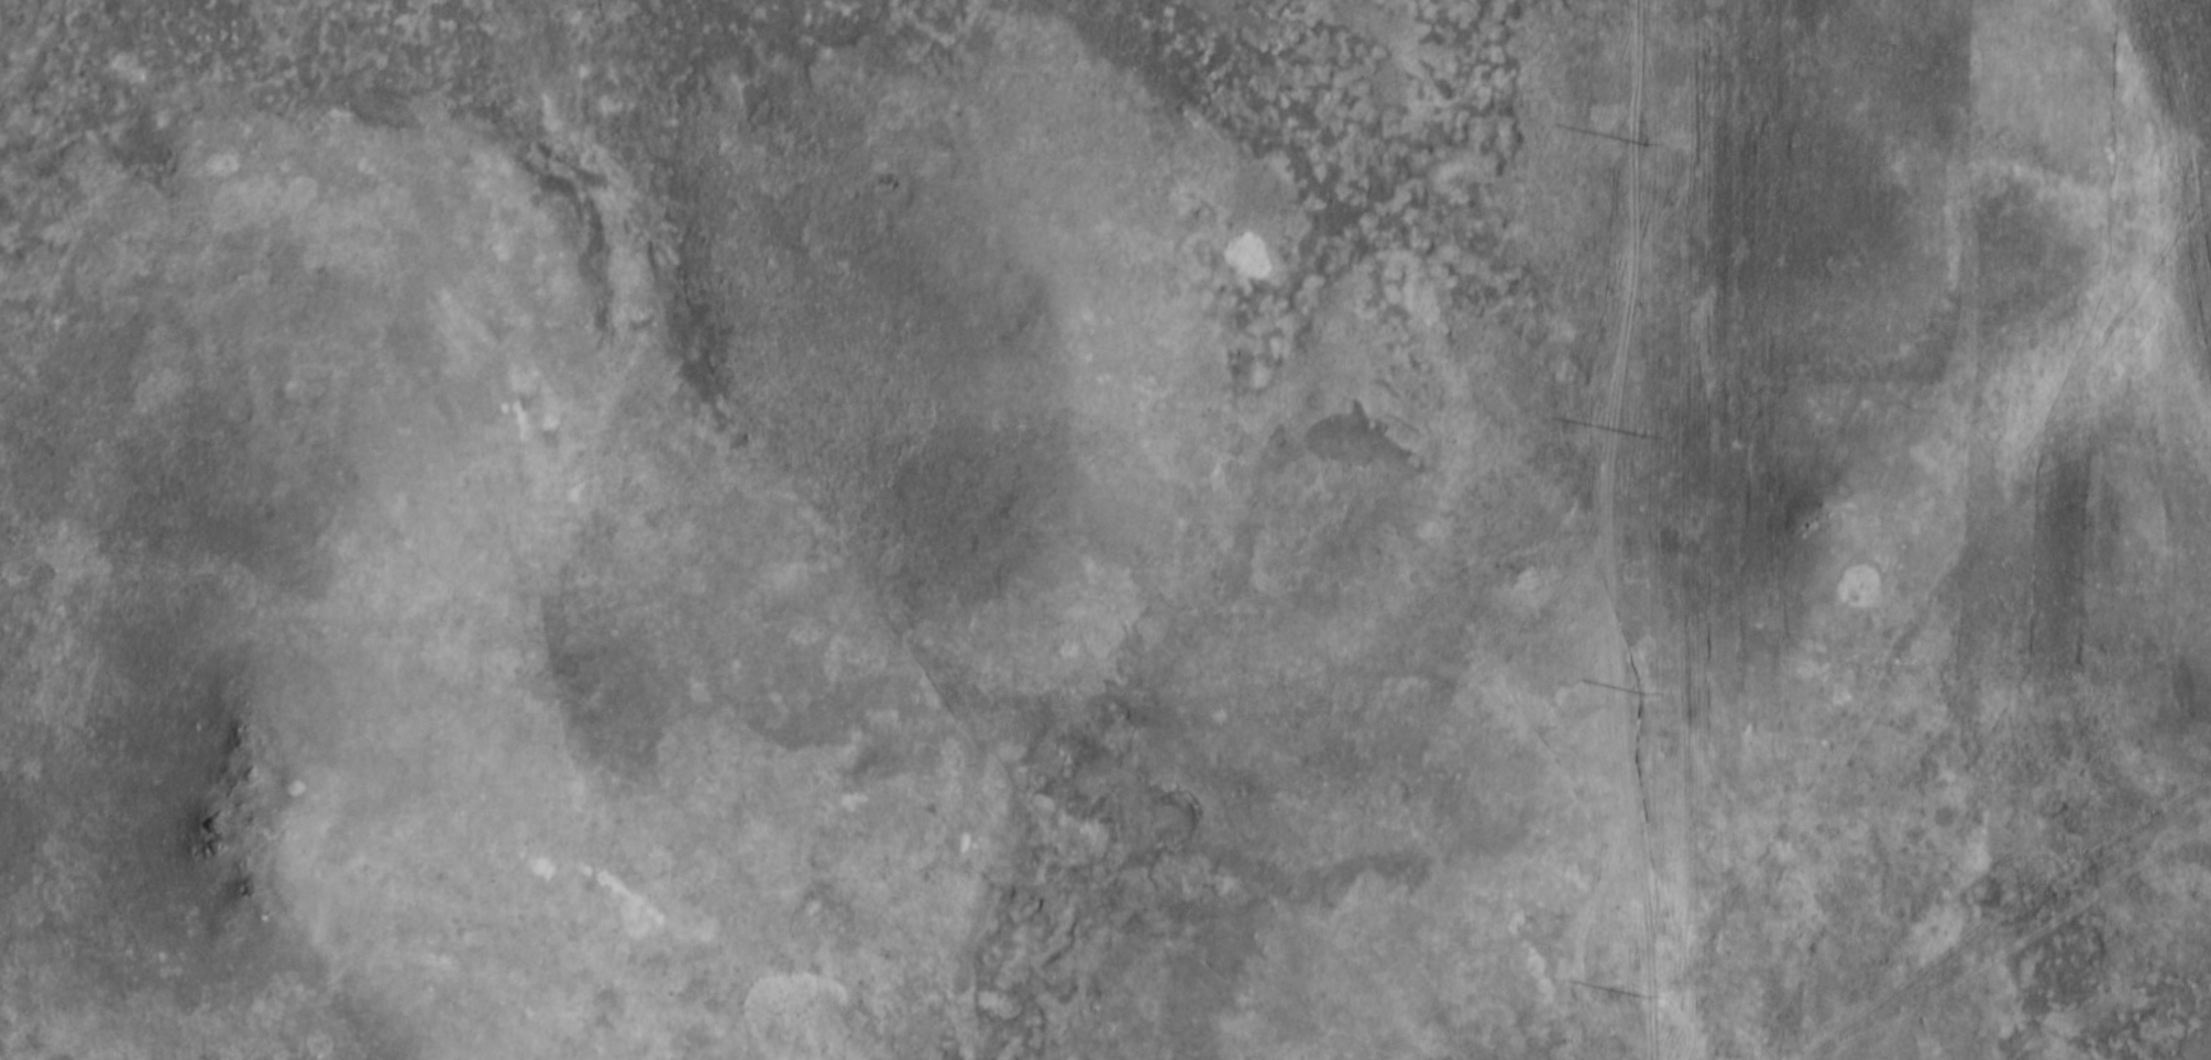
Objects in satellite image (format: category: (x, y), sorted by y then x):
road: (2185, 167)
road: (2006, 918)

